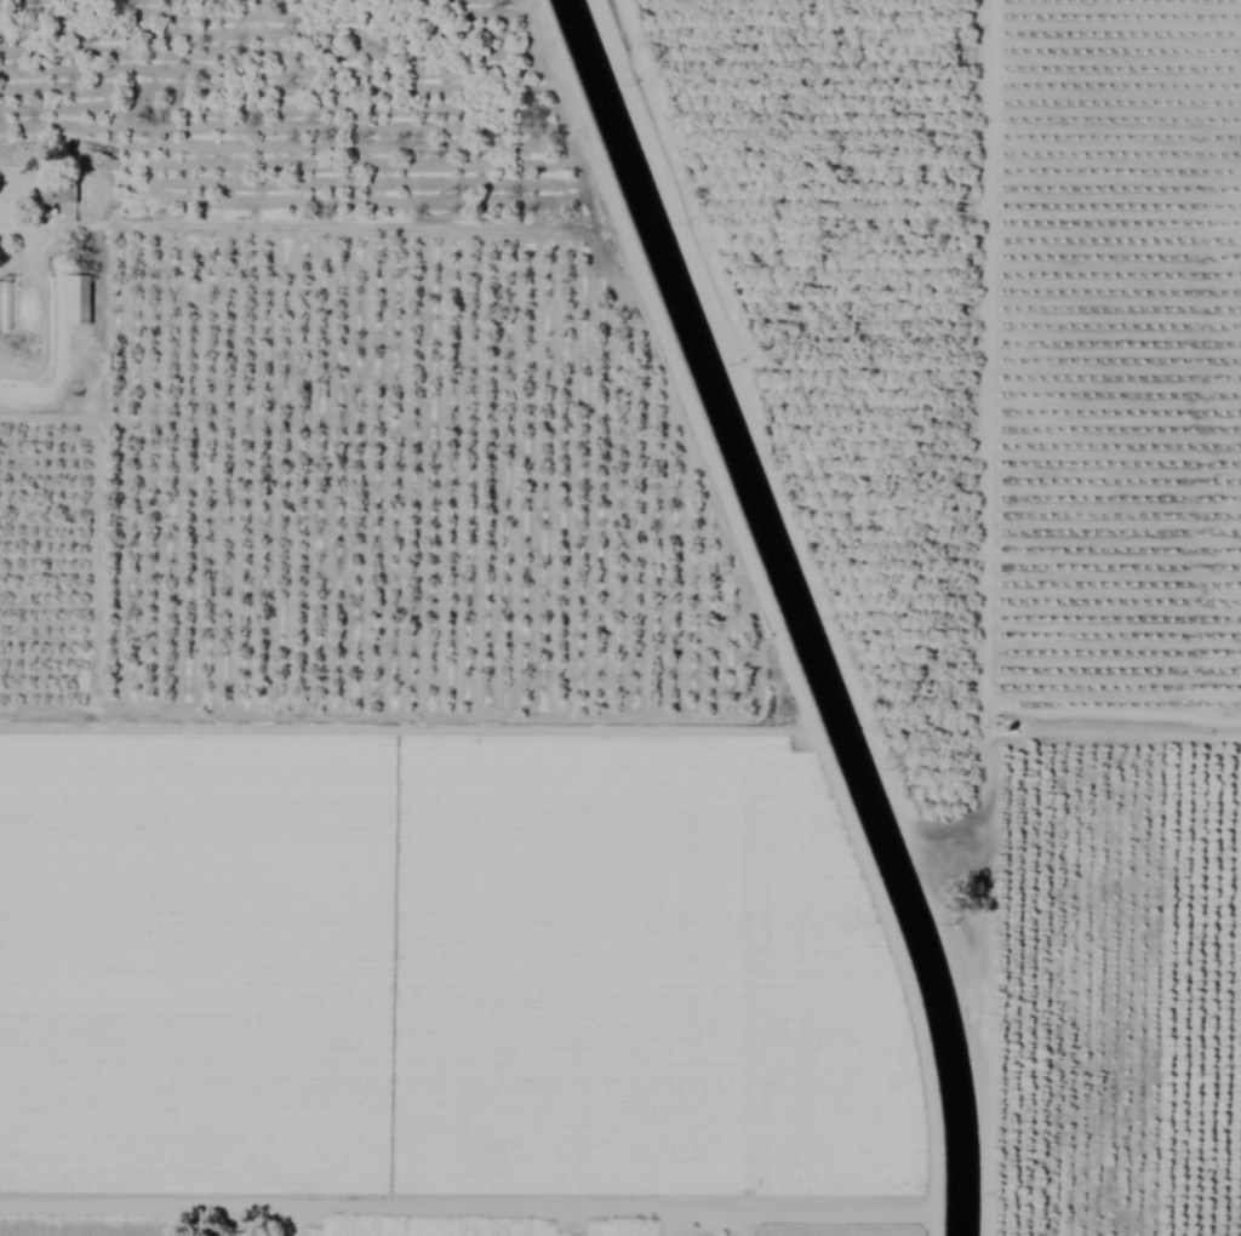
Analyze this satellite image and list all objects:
building: (57, 191)
building: (75, 301)
building: (5, 307)
crop: (620, 618)
road: (365, 1209)
road: (293, 1223)
road: (733, 1225)
building: (236, 1235)

